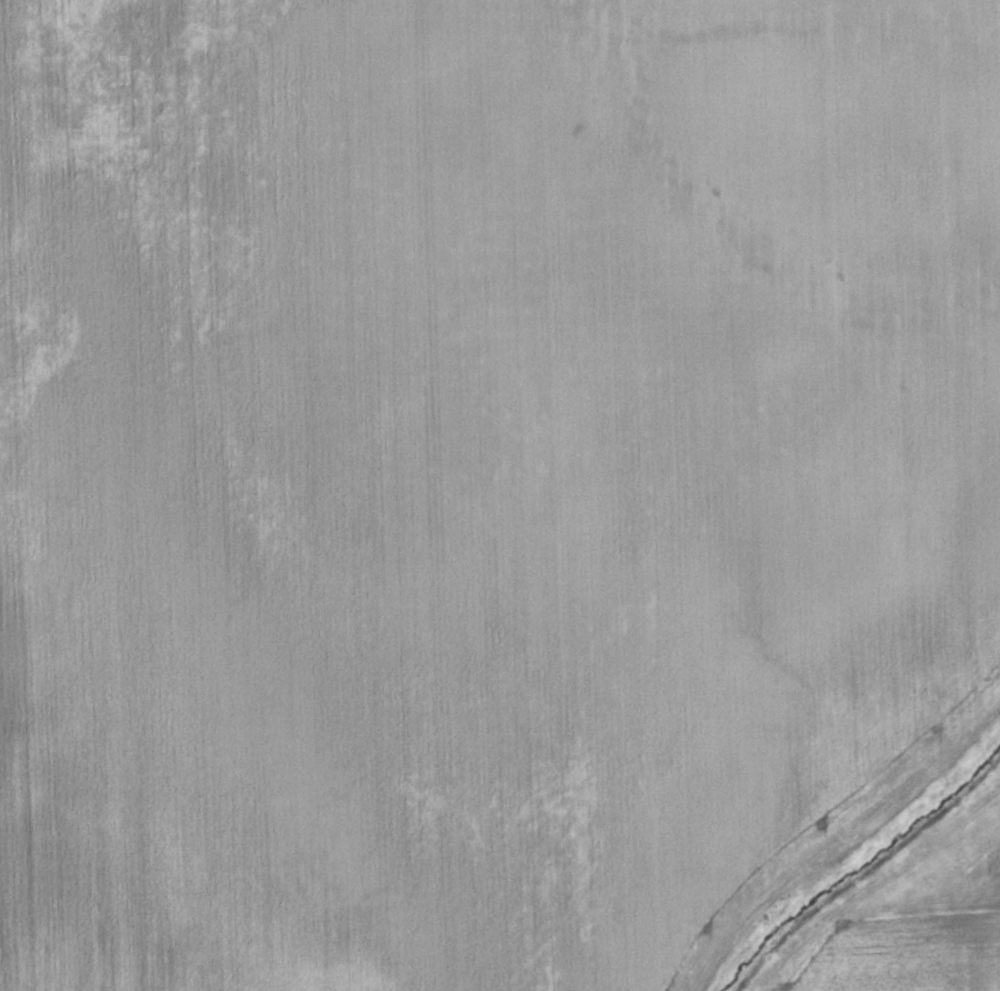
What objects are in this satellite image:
road: (838, 840)

